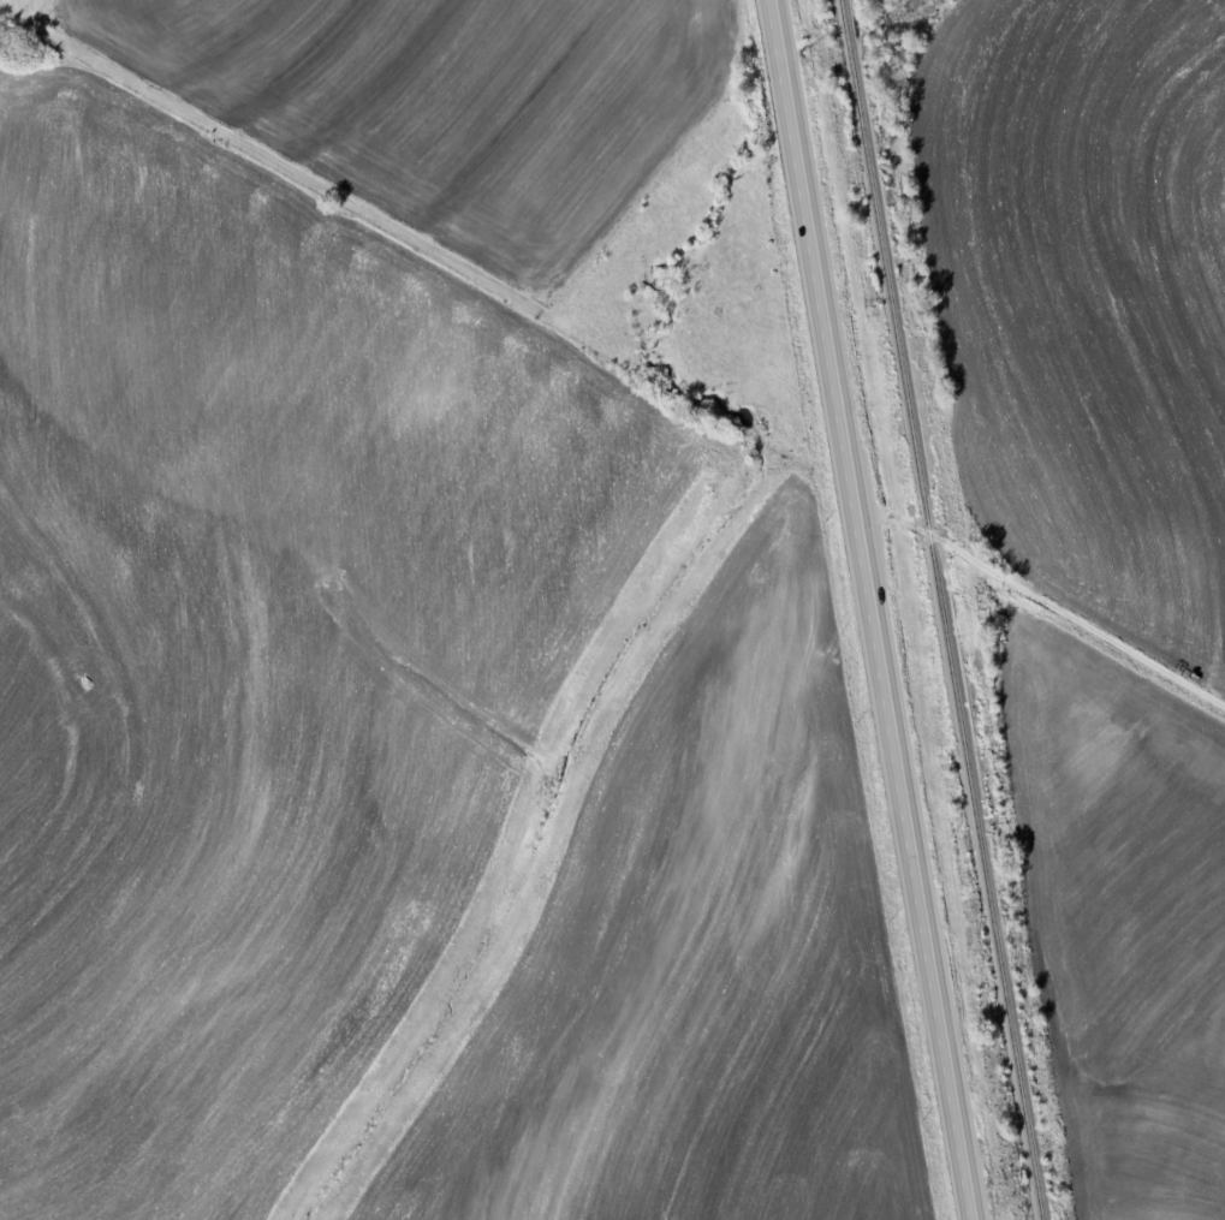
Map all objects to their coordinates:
road: (1046, 597)
road: (876, 609)
railway: (946, 609)

